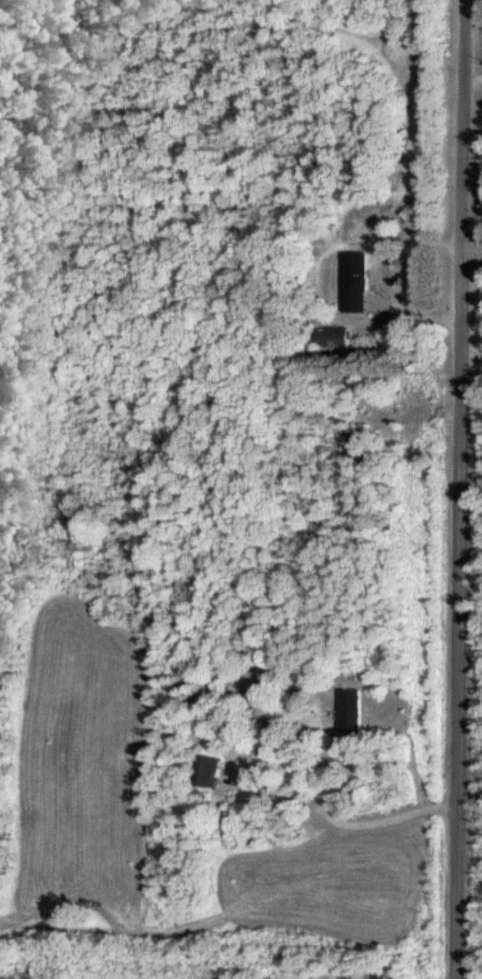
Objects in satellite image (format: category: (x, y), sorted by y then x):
building: (361, 283)
building: (342, 340)
road: (472, 356)
road: (461, 489)
building: (357, 711)
building: (210, 771)

